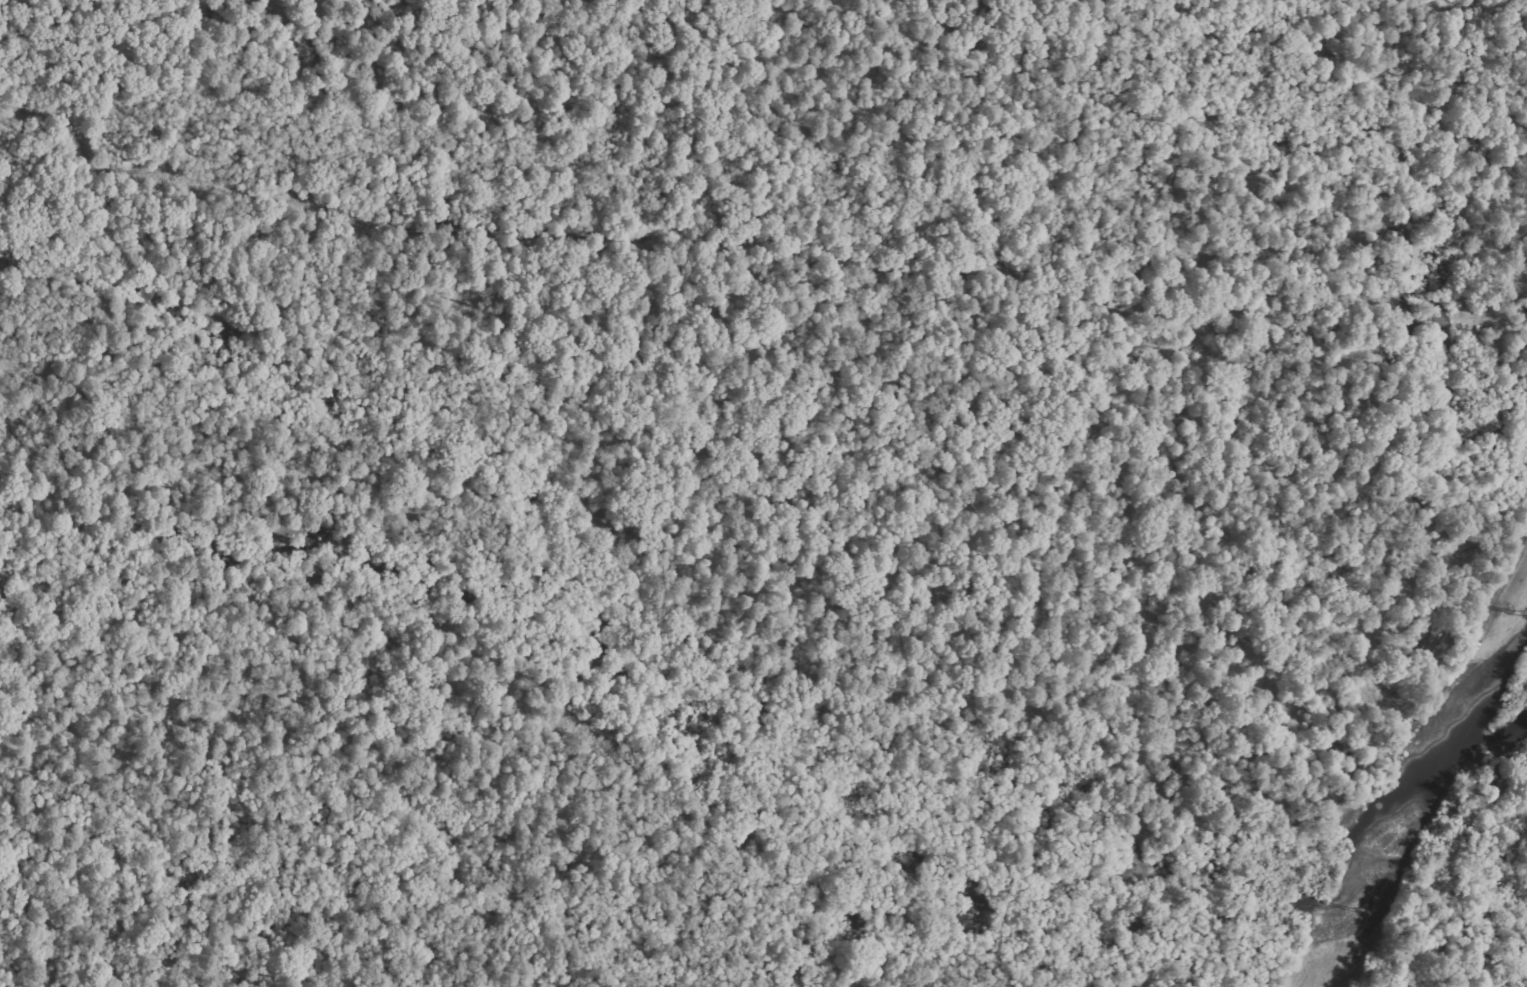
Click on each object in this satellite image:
power tower: (1521, 614)
power tower: (1356, 909)

